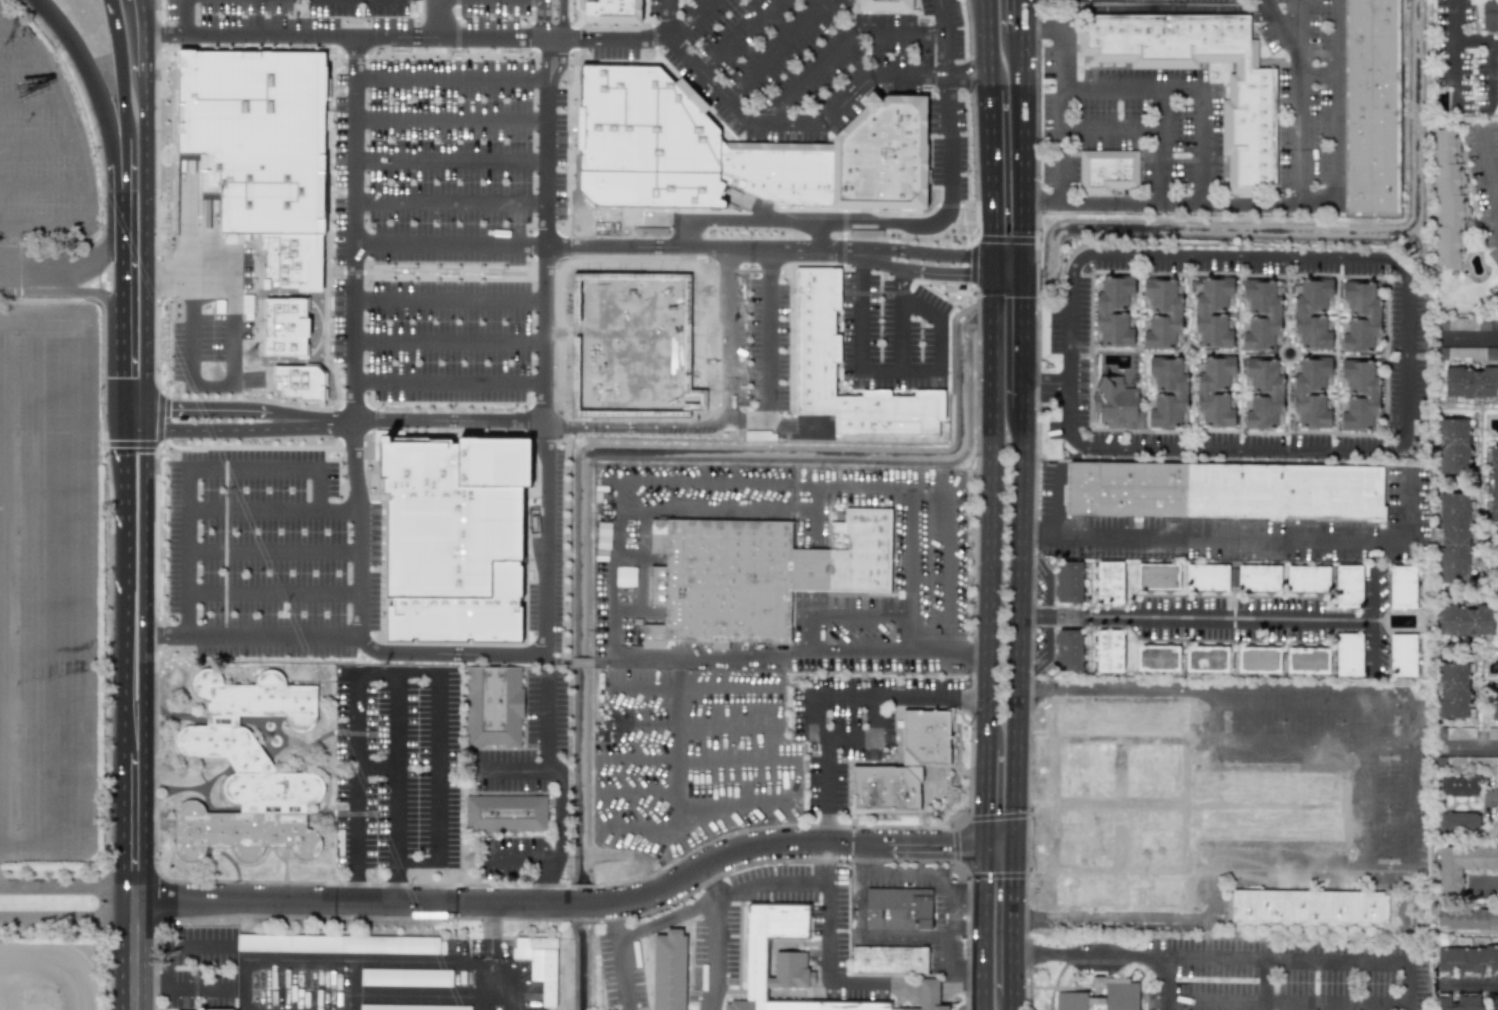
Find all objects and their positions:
building: (885, 5)
road: (1164, 8)
building: (609, 10)
road: (141, 14)
road: (147, 15)
road: (185, 15)
building: (1489, 15)
road: (114, 16)
road: (1025, 16)
road: (690, 19)
road: (564, 25)
road: (538, 26)
road: (6, 27)
road: (1298, 28)
road: (230, 31)
road: (396, 34)
road: (734, 34)
road: (490, 35)
road: (617, 38)
road: (1456, 39)
road: (988, 44)
road: (841, 46)
road: (777, 48)
road: (146, 53)
road: (350, 56)
road: (22, 65)
road: (1492, 66)
road: (1456, 67)
road: (911, 75)
road: (1319, 75)
road: (969, 76)
road: (369, 78)
road: (1112, 83)
road: (122, 84)
road: (1186, 85)
road: (948, 99)
road: (99, 103)
road: (31, 104)
building: (1372, 106)
road: (67, 114)
road: (745, 116)
road: (450, 118)
building: (1248, 125)
road: (549, 144)
road: (39, 147)
building: (262, 148)
road: (1025, 149)
building: (740, 151)
road: (450, 160)
road: (1160, 163)
road: (1490, 166)
building: (1107, 168)
road: (992, 177)
road: (123, 180)
road: (42, 187)
building: (1448, 199)
road: (451, 200)
road: (1250, 201)
road: (1314, 202)
road: (948, 208)
road: (816, 215)
road: (40, 225)
road: (124, 230)
road: (683, 231)
road: (817, 233)
road: (188, 240)
road: (147, 241)
road: (451, 243)
road: (696, 248)
road: (913, 251)
road: (856, 257)
road: (65, 265)
road: (883, 265)
road: (986, 265)
road: (1010, 267)
road: (124, 268)
road: (942, 272)
road: (62, 291)
road: (908, 294)
road: (450, 297)
building: (247, 306)
parking lot: (889, 309)
road: (353, 314)
road: (546, 316)
road: (903, 319)
road: (1072, 322)
building: (1469, 323)
building: (284, 324)
road: (720, 331)
building: (815, 333)
building: (631, 337)
road: (1026, 337)
road: (1472, 337)
road: (449, 338)
building: (1240, 351)
road: (125, 353)
building: (1468, 353)
power tower: (251, 355)
road: (894, 370)
road: (231, 377)
building: (300, 380)
building: (1470, 382)
road: (1407, 384)
road: (1049, 386)
road: (449, 387)
road: (547, 402)
road: (352, 403)
road: (137, 407)
road: (221, 409)
road: (740, 414)
road: (518, 416)
road: (148, 419)
road: (127, 420)
road: (222, 431)
road: (137, 432)
building: (1453, 447)
road: (189, 467)
road: (623, 482)
building: (1494, 482)
road: (939, 486)
building: (1225, 491)
road: (1058, 499)
road: (271, 507)
road: (991, 507)
road: (715, 509)
road: (359, 530)
building: (462, 534)
road: (553, 537)
building: (1454, 537)
road: (1244, 540)
theme park: (44, 543)
road: (273, 550)
road: (910, 551)
building: (753, 575)
building: (625, 576)
building: (1158, 576)
building: (1206, 577)
building: (1259, 578)
road: (44, 579)
road: (78, 579)
building: (1308, 579)
building: (1069, 582)
building: (1110, 582)
building: (1348, 586)
building: (1402, 587)
road: (124, 589)
road: (144, 589)
road: (272, 591)
road: (1373, 596)
road: (876, 615)
road: (1220, 619)
building: (1465, 619)
road: (1021, 626)
road: (809, 634)
road: (359, 643)
building: (1069, 650)
building: (1109, 651)
building: (1349, 654)
building: (1403, 655)
road: (794, 657)
building: (1158, 658)
building: (1207, 659)
building: (1258, 660)
building: (1307, 660)
road: (584, 662)
road: (689, 683)
road: (1118, 689)
building: (1453, 690)
road: (879, 696)
building: (1494, 704)
road: (683, 722)
building: (1456, 733)
road: (871, 738)
road: (1292, 742)
road: (673, 743)
road: (1470, 748)
road: (438, 750)
road: (683, 760)
building: (904, 761)
building: (1471, 761)
road: (1405, 764)
road: (379, 768)
road: (397, 768)
road: (511, 768)
road: (361, 770)
building: (251, 774)
building: (1459, 786)
road: (563, 787)
road: (637, 791)
road: (828, 791)
road: (1492, 794)
road: (987, 796)
building: (1267, 804)
road: (1368, 806)
road: (700, 811)
building: (506, 813)
building: (1459, 822)
road: (642, 825)
traffic signals: (986, 846)
road: (1000, 846)
traffic signals: (1015, 846)
road: (523, 856)
power tower: (470, 862)
building: (1462, 866)
road: (926, 873)
road: (133, 877)
road: (1490, 881)
road: (396, 882)
road: (358, 884)
road: (718, 894)
road: (1216, 897)
road: (67, 899)
road: (566, 903)
building: (899, 908)
building: (1309, 908)
building: (1466, 919)
road: (1014, 920)
road: (982, 928)
road: (860, 931)
road: (715, 936)
building: (338, 944)
road: (181, 945)
road: (827, 945)
road: (948, 945)
road: (1089, 955)
road: (620, 956)
road: (59, 957)
road: (339, 959)
road: (487, 959)
road: (1286, 959)
building: (888, 960)
building: (1467, 961)
building: (540, 964)
building: (794, 964)
building: (667, 970)
building: (402, 977)
road: (1163, 983)
road: (1470, 983)
road: (1263, 984)
road: (182, 989)
road: (422, 996)
building: (1102, 996)
road: (1285, 1000)
road: (1013, 1002)
building: (1460, 1002)
building: (408, 1007)
building: (215, 1009)

